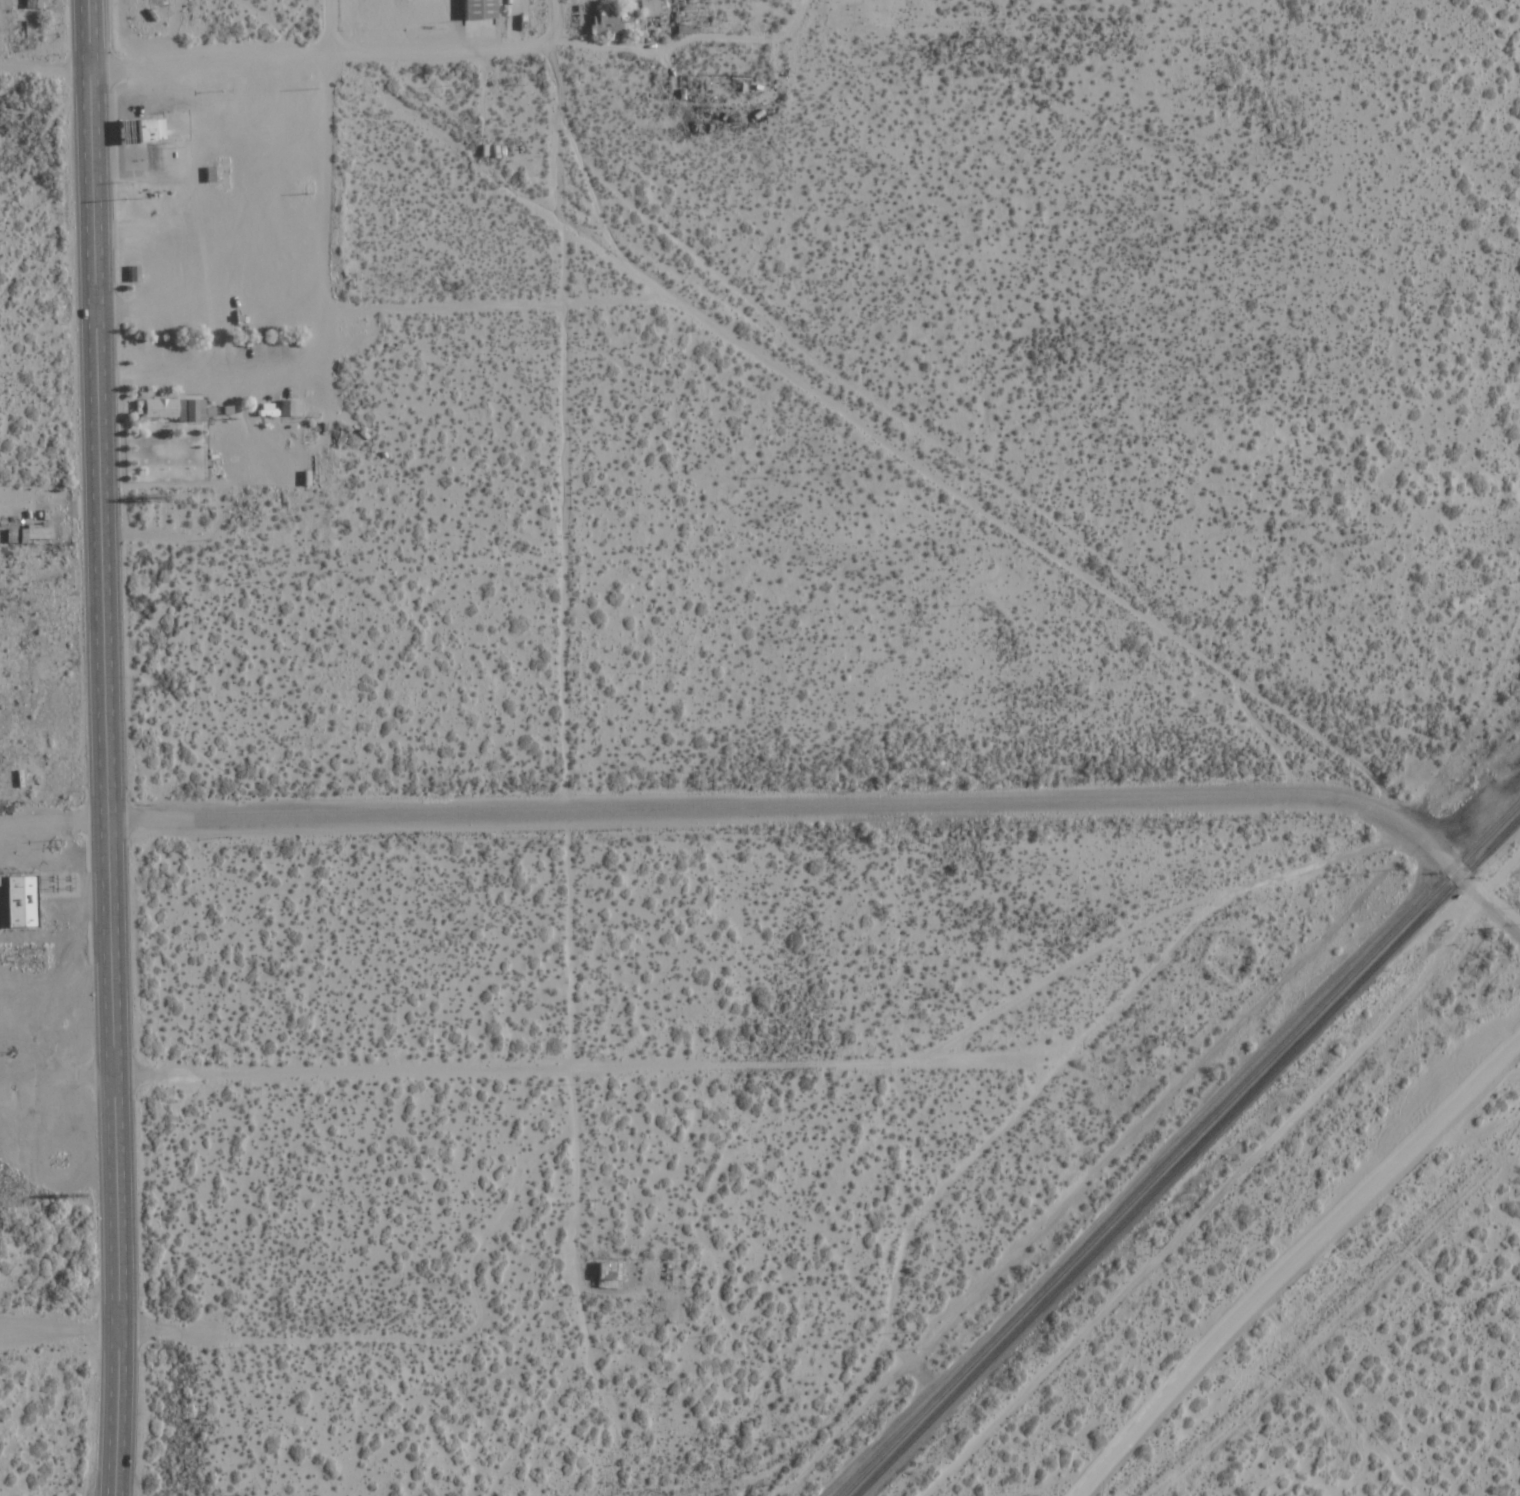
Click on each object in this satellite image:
building: (652, 8)
building: (479, 10)
road: (559, 15)
building: (615, 23)
road: (666, 46)
road: (281, 54)
building: (1402, 84)
building: (1350, 85)
building: (151, 129)
building: (128, 131)
road: (317, 150)
road: (209, 306)
building: (1305, 321)
building: (160, 408)
building: (607, 415)
building: (29, 534)
road: (101, 665)
road: (565, 671)
road: (752, 805)
building: (62, 883)
building: (21, 902)
road: (1219, 903)
building: (762, 910)
road: (1497, 912)
building: (638, 914)
road: (533, 1066)
railway: (1180, 1149)
building: (811, 1152)
railway: (1188, 1157)
building: (269, 1158)
building: (907, 1195)
road: (1293, 1260)
building: (272, 1271)
building: (607, 1275)
road: (891, 1307)
road: (198, 1335)
building: (797, 1347)
building: (363, 1394)
road: (117, 1413)

